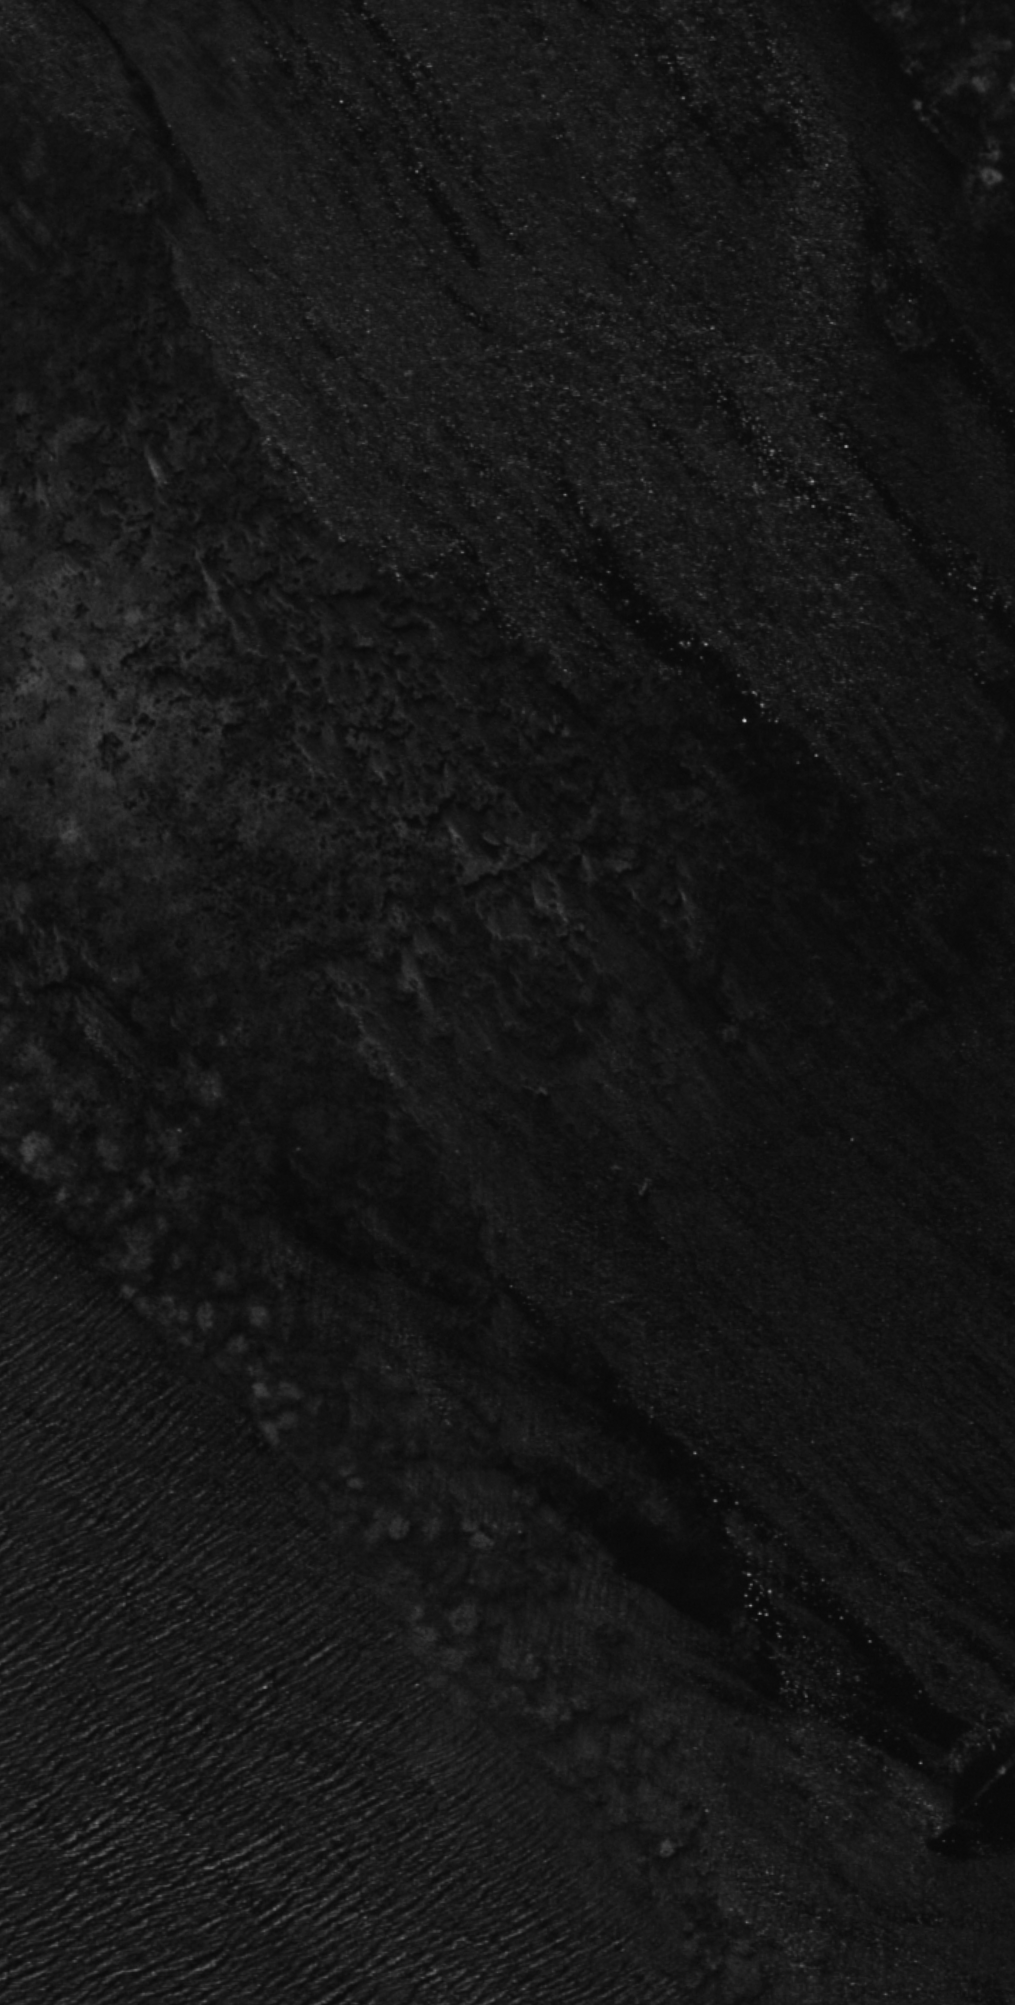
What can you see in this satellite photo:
river: (62, 1921)

